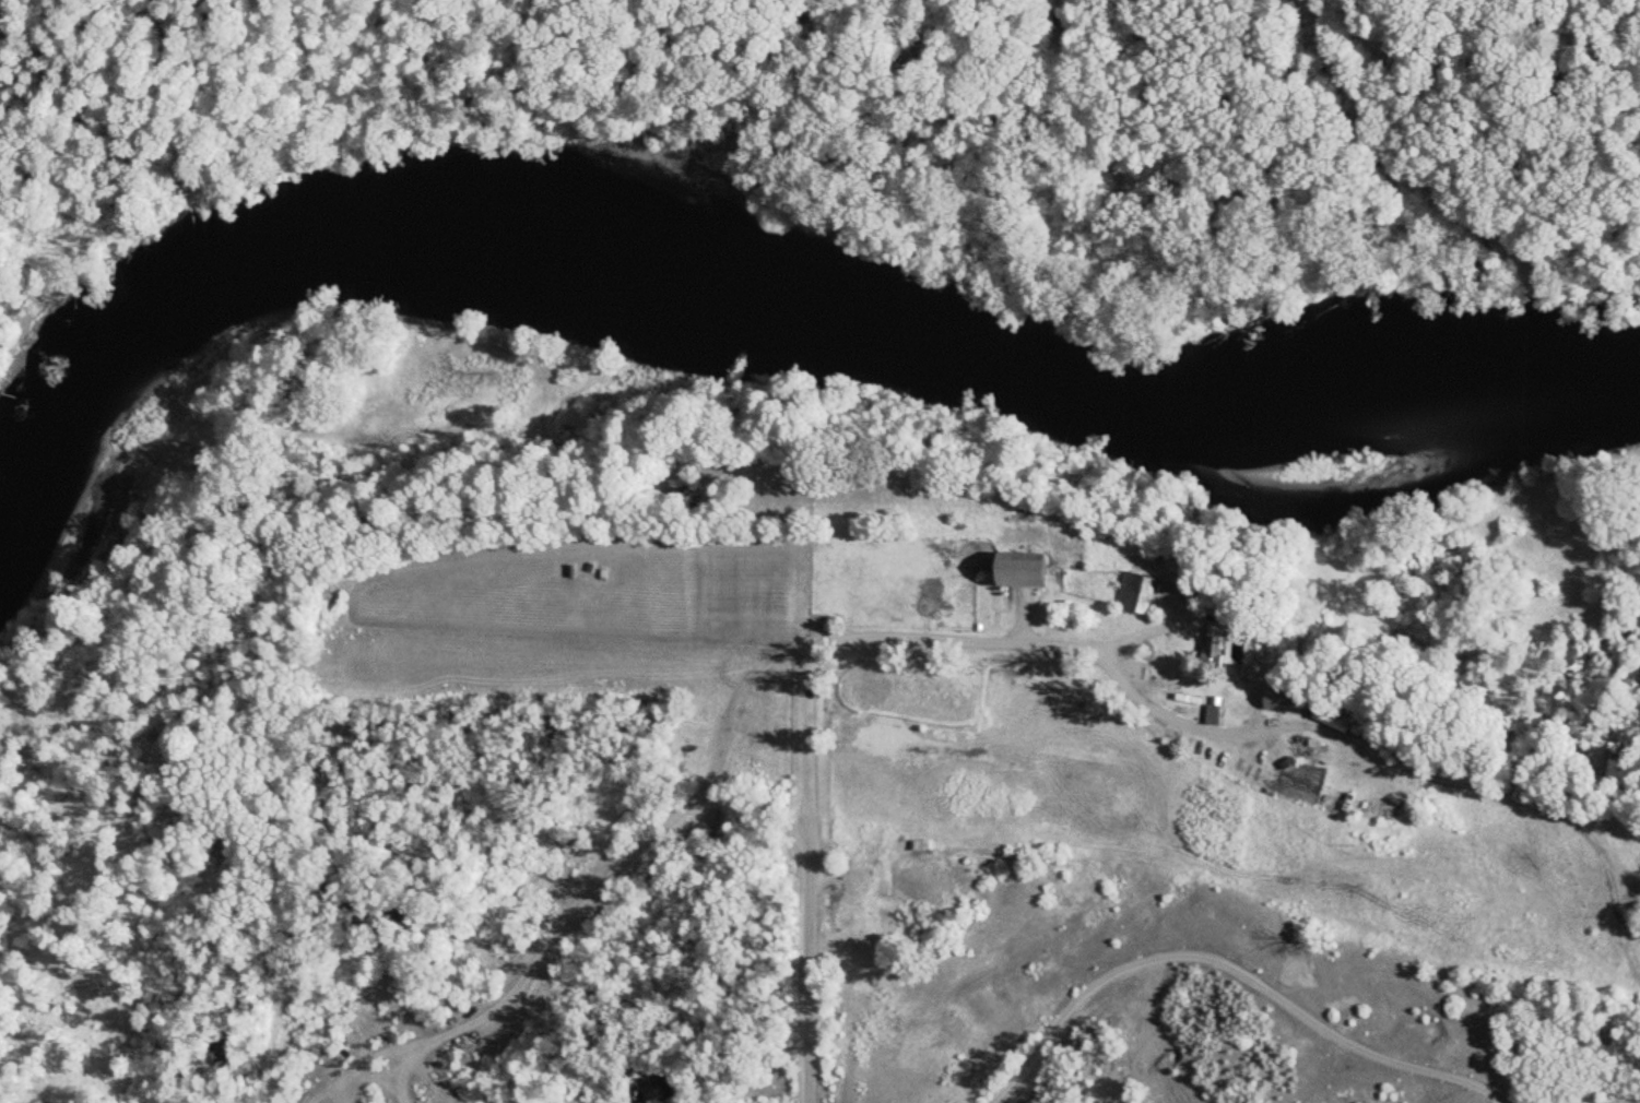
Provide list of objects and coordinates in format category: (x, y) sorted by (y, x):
river: (748, 292)
road: (615, 547)
building: (1016, 572)
building: (1131, 594)
road: (1100, 656)
building: (1284, 701)
road: (803, 826)
building: (918, 846)
road: (976, 874)
road: (559, 935)
road: (1230, 958)
road: (620, 1027)

